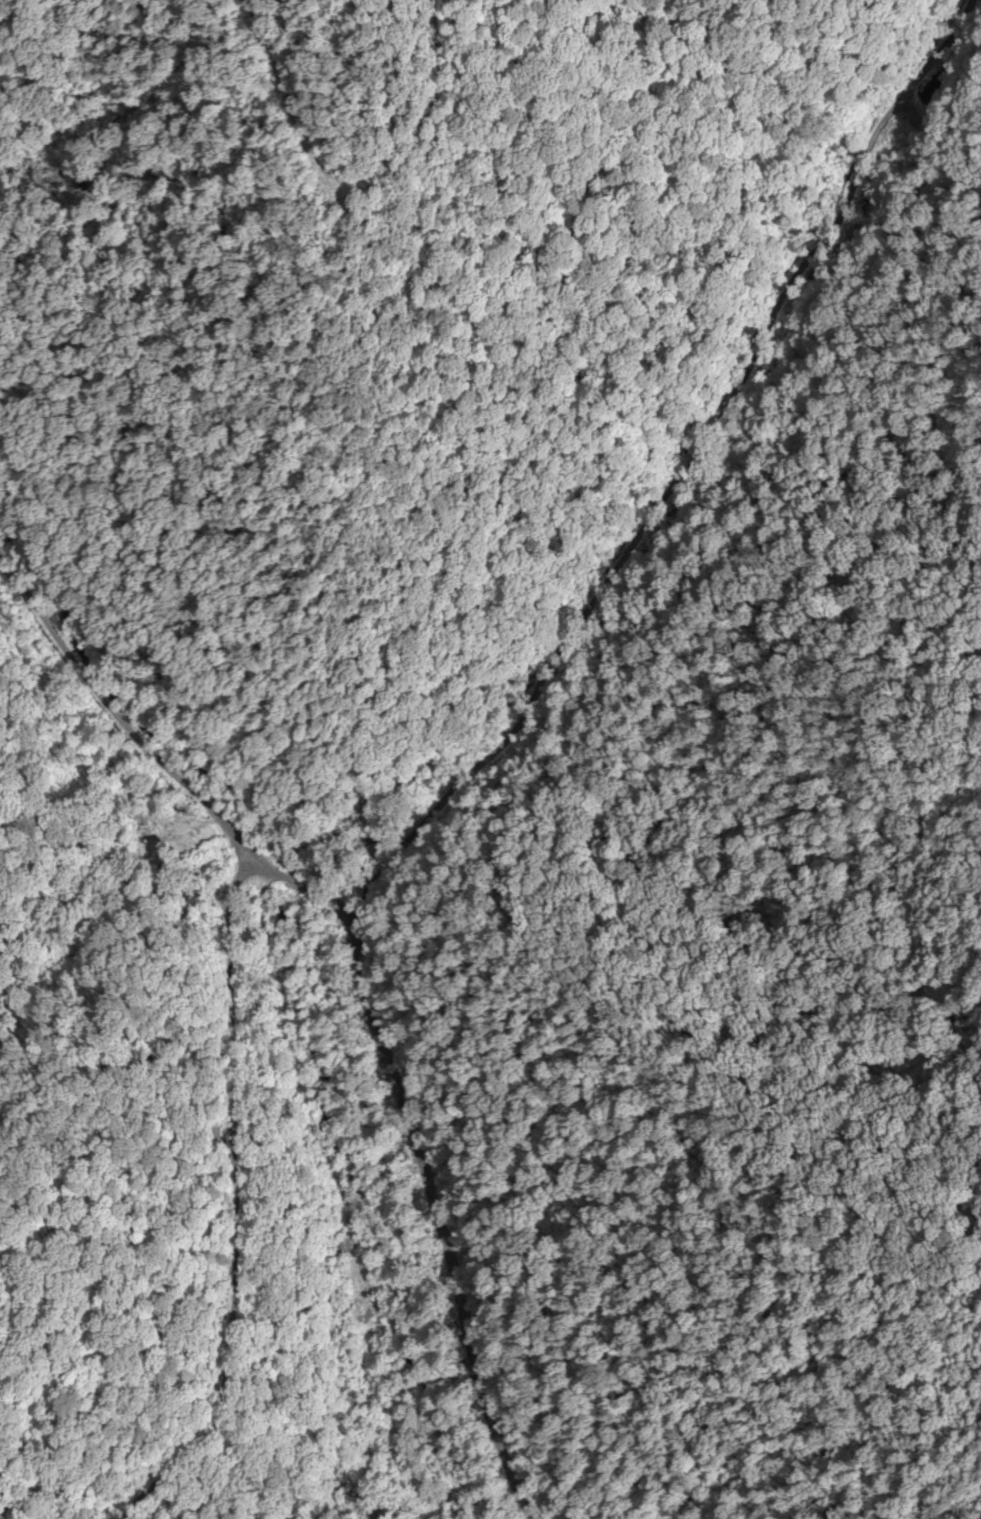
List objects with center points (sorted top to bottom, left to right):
road: (475, 1366)

